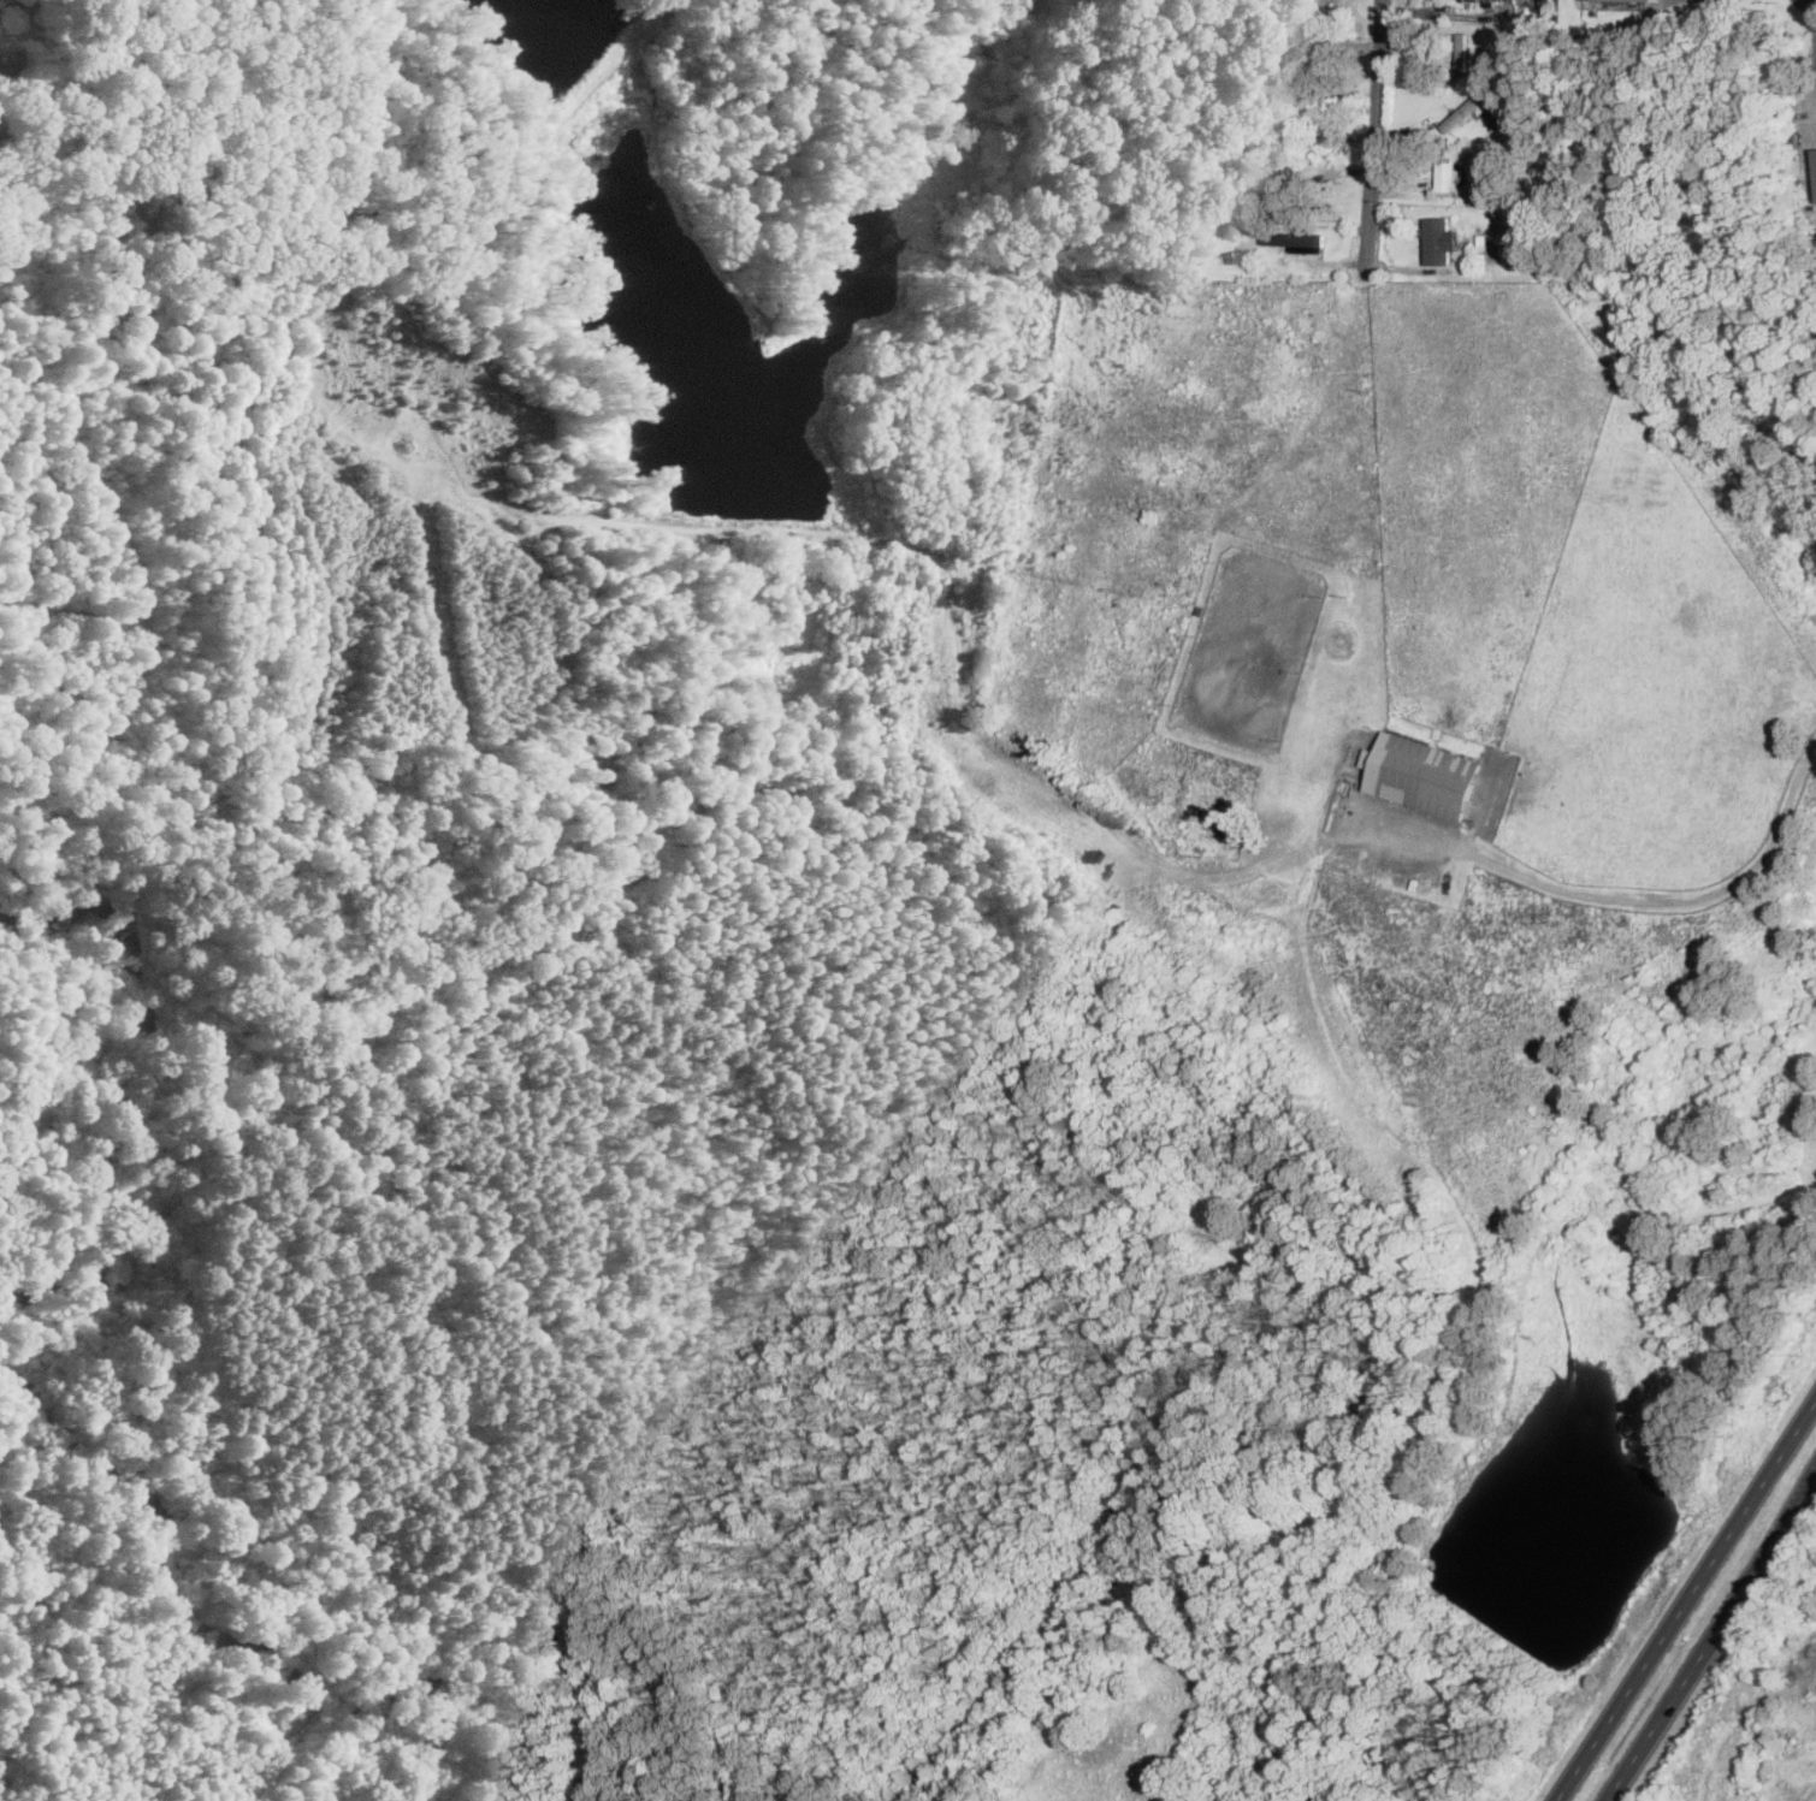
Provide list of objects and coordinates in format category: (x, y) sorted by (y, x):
building: (1465, 0)
building: (1651, 0)
building: (1603, 4)
building: (1461, 53)
building: (1463, 111)
road: (1372, 138)
building: (1815, 153)
building: (1447, 173)
building: (1297, 239)
building: (1438, 239)
building: (1421, 774)
road: (1687, 1602)
road: (1710, 1639)

